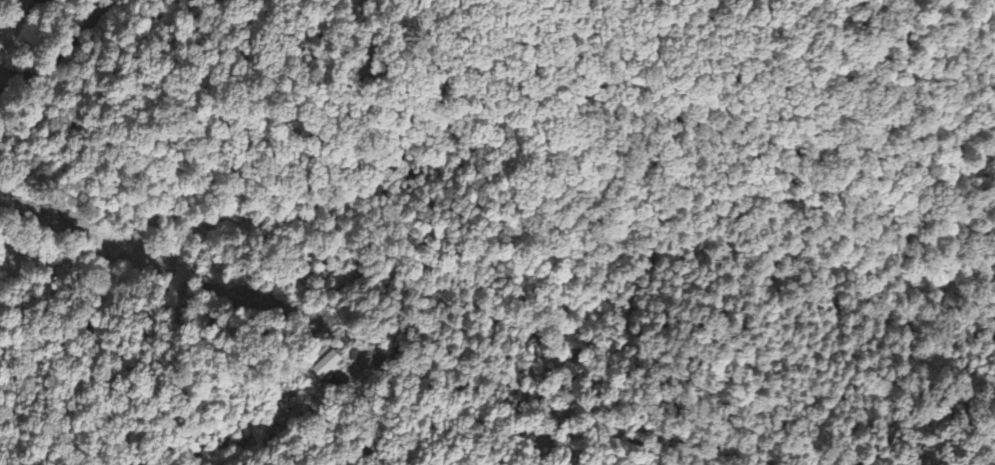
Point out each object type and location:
building: (330, 369)

